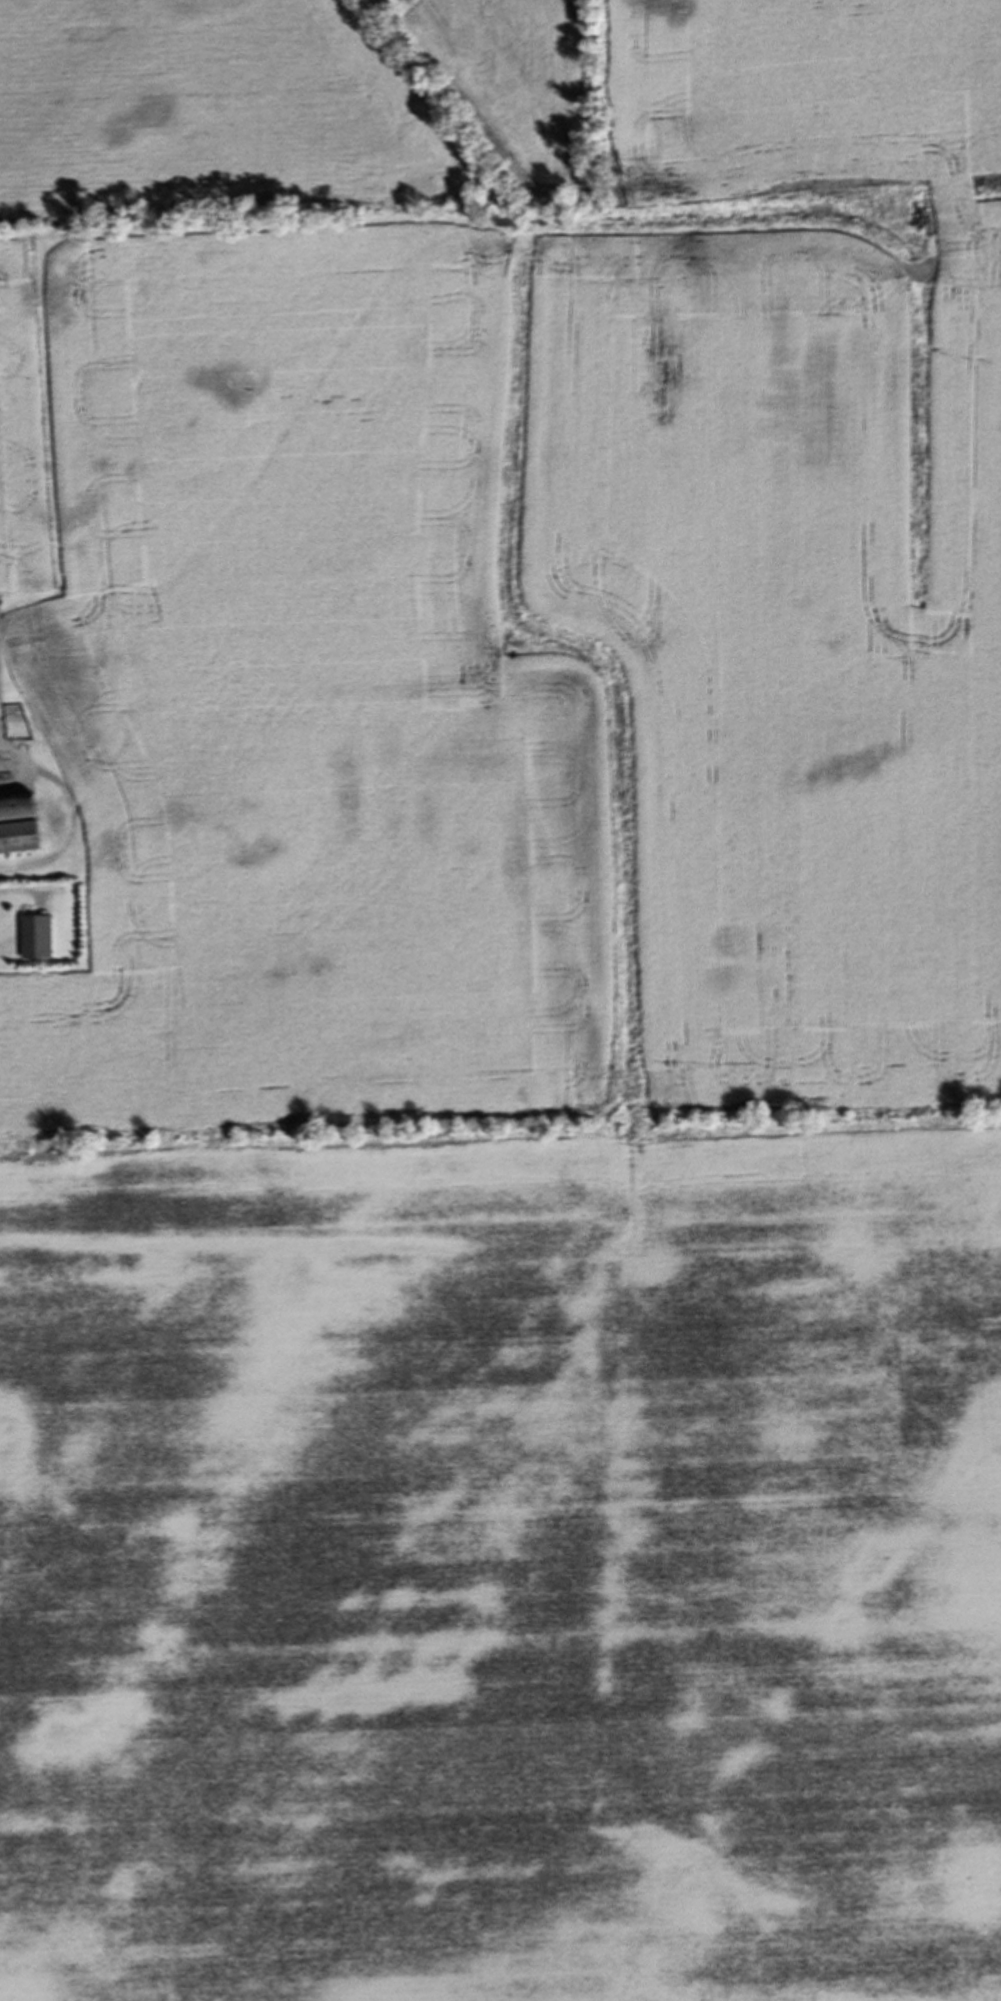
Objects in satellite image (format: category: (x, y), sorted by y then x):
building: (22, 827)
building: (38, 941)

